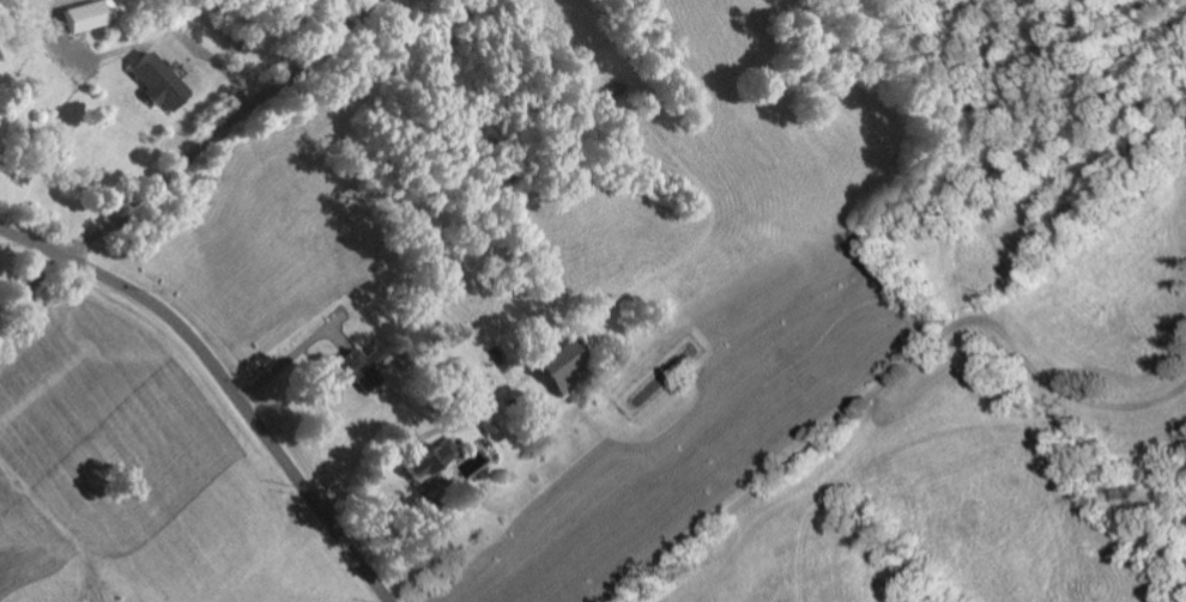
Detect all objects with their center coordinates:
road: (211, 59)
road: (214, 132)
road: (278, 361)
road: (887, 376)
road: (224, 382)
road: (387, 455)

